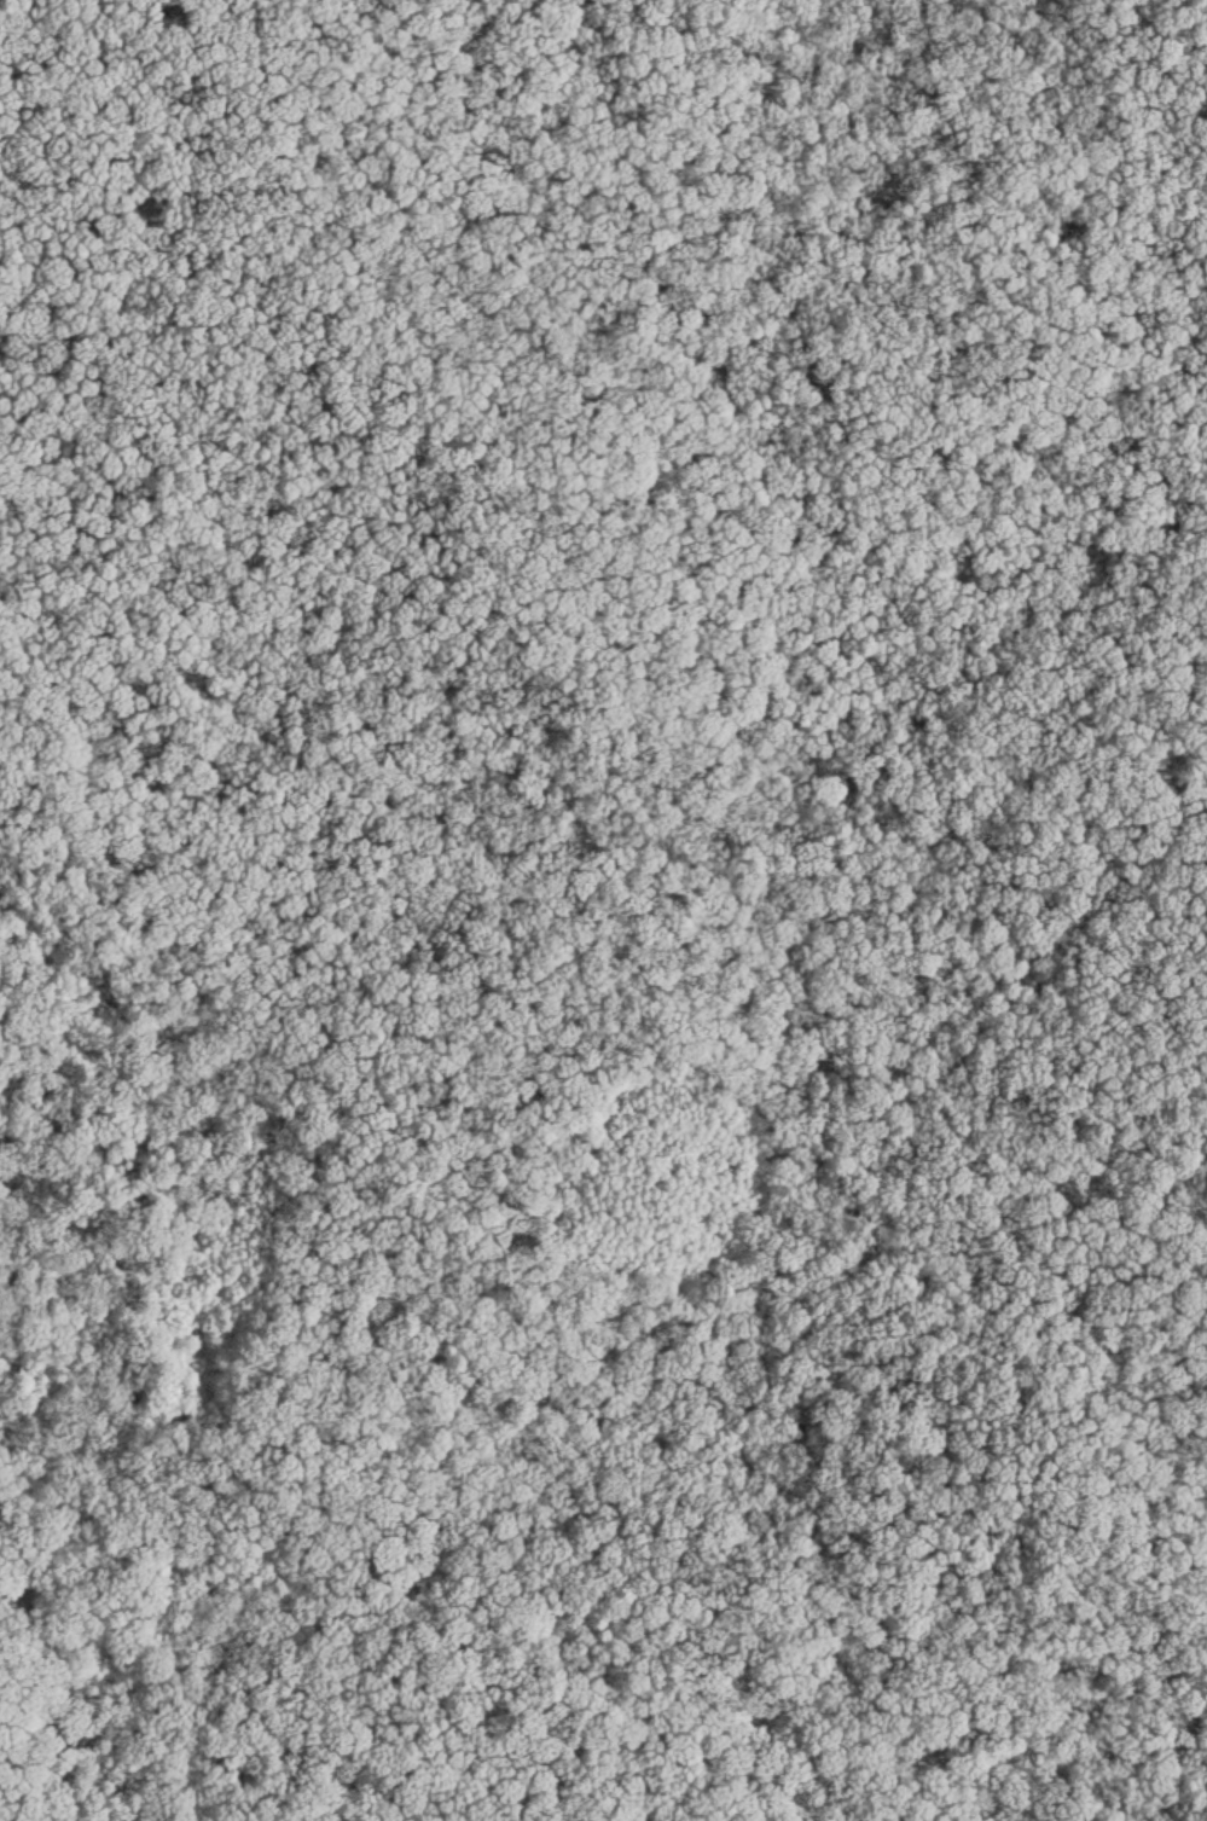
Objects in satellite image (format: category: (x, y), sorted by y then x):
road: (649, 1379)
road: (36, 1674)

